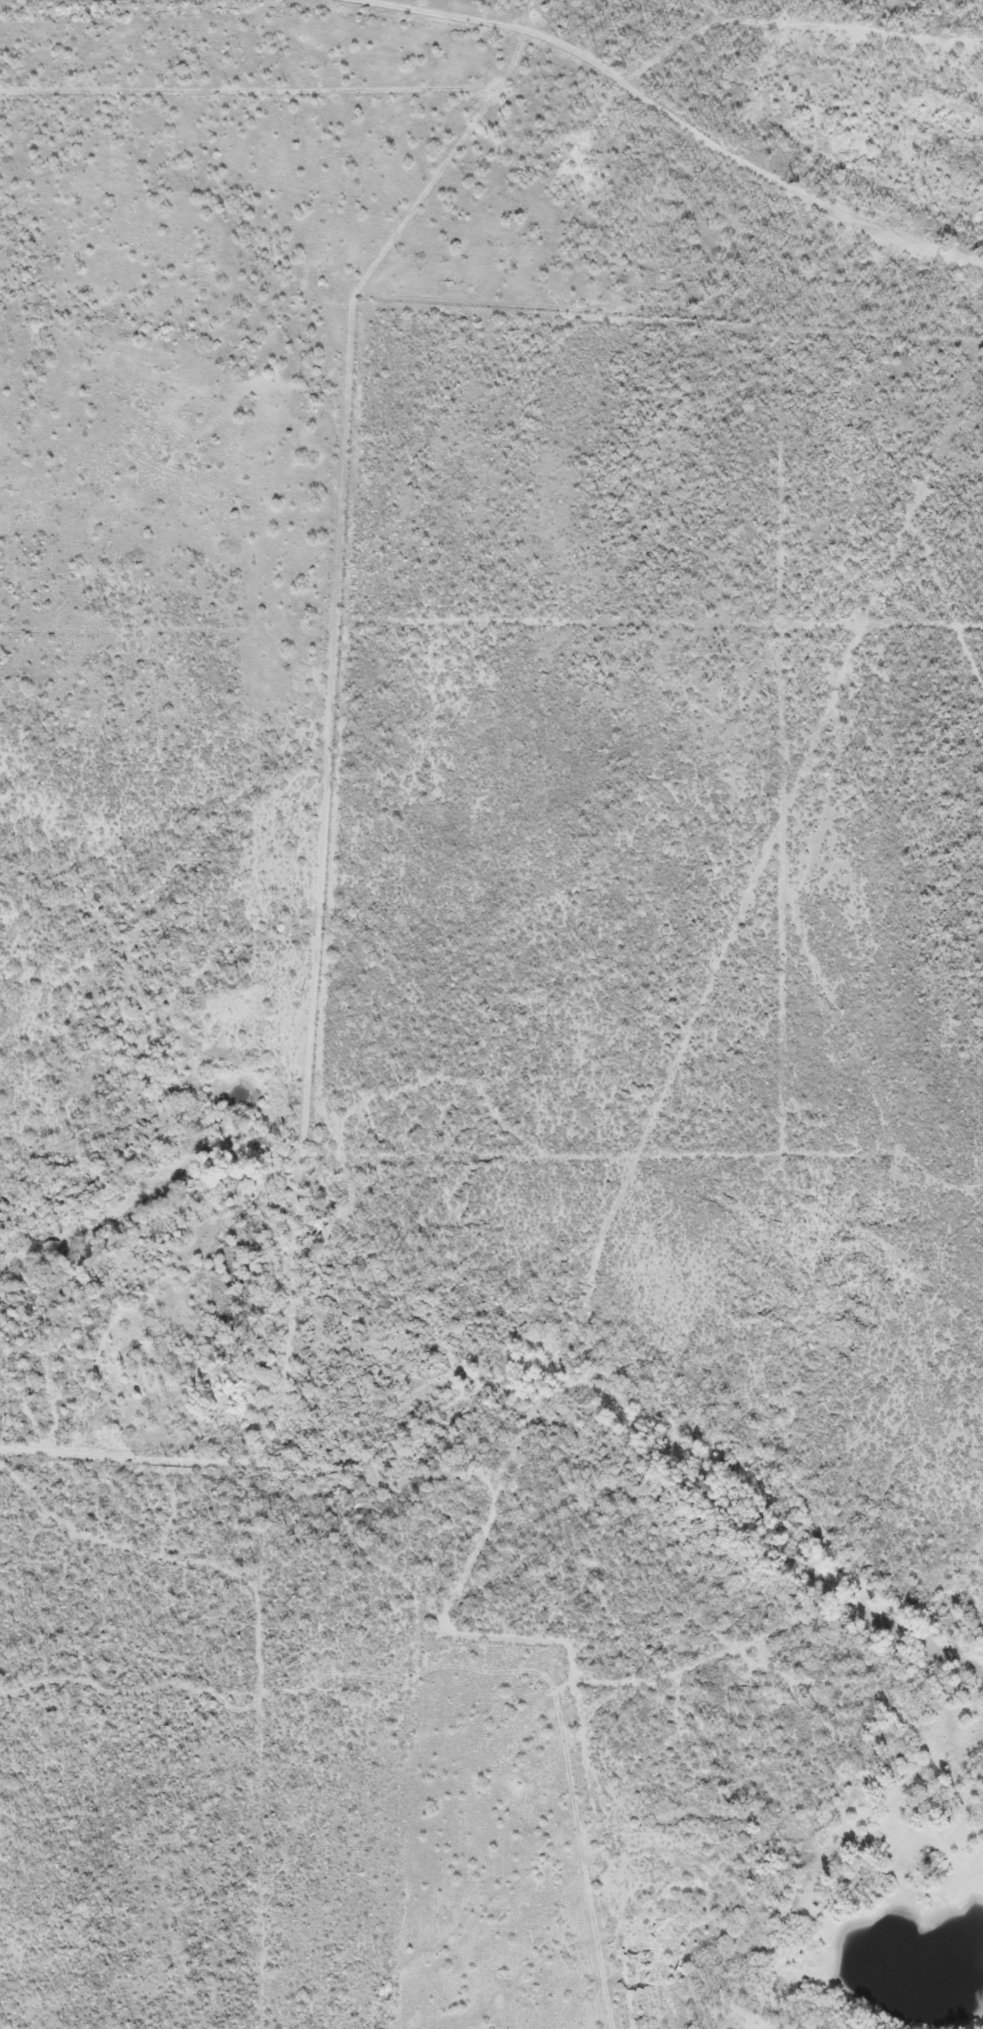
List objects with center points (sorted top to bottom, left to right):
road: (674, 116)

